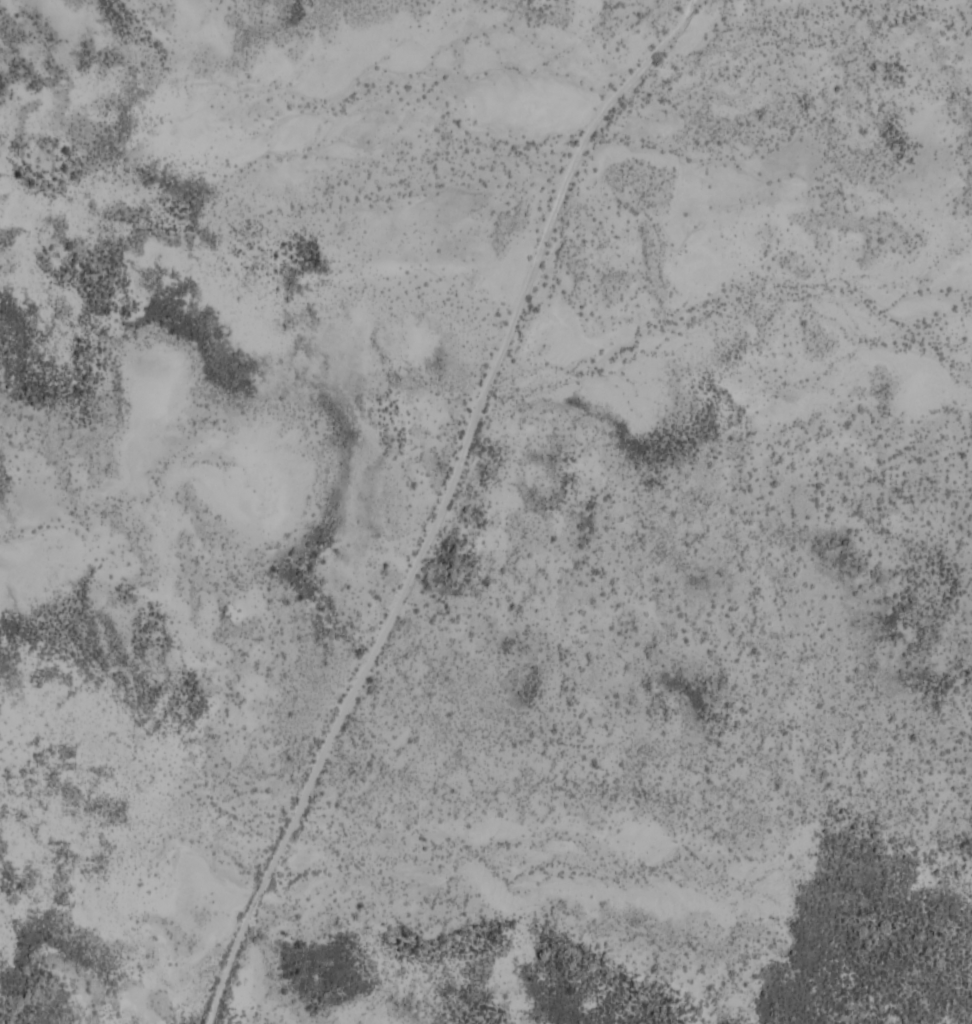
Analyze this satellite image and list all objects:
road: (407, 502)

